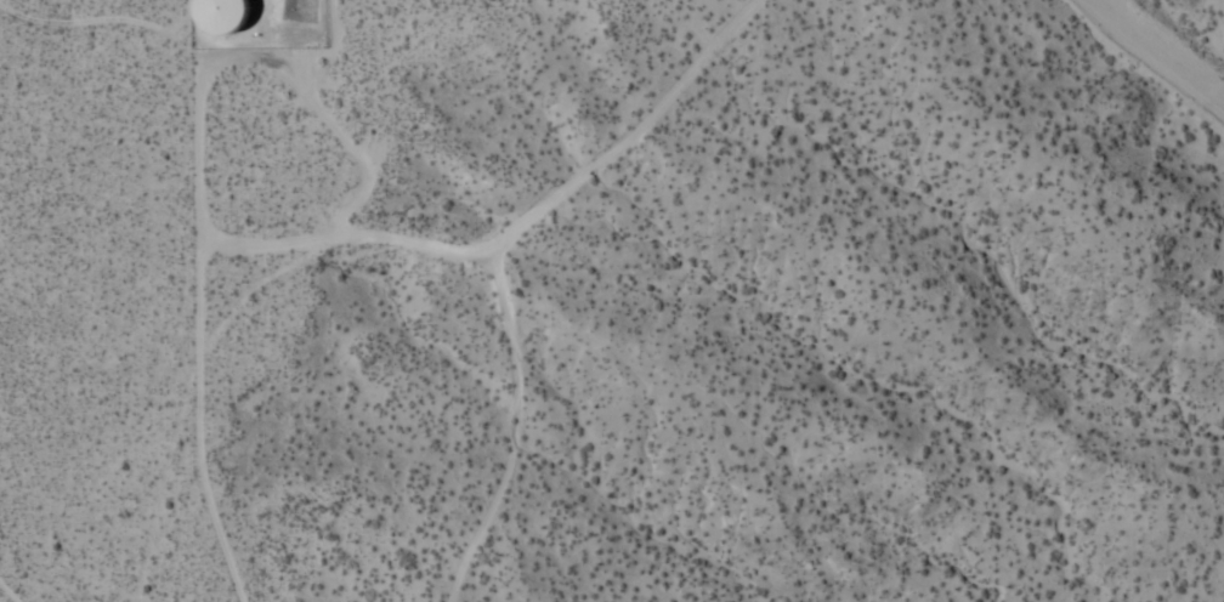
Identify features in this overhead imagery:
road: (1157, 55)

